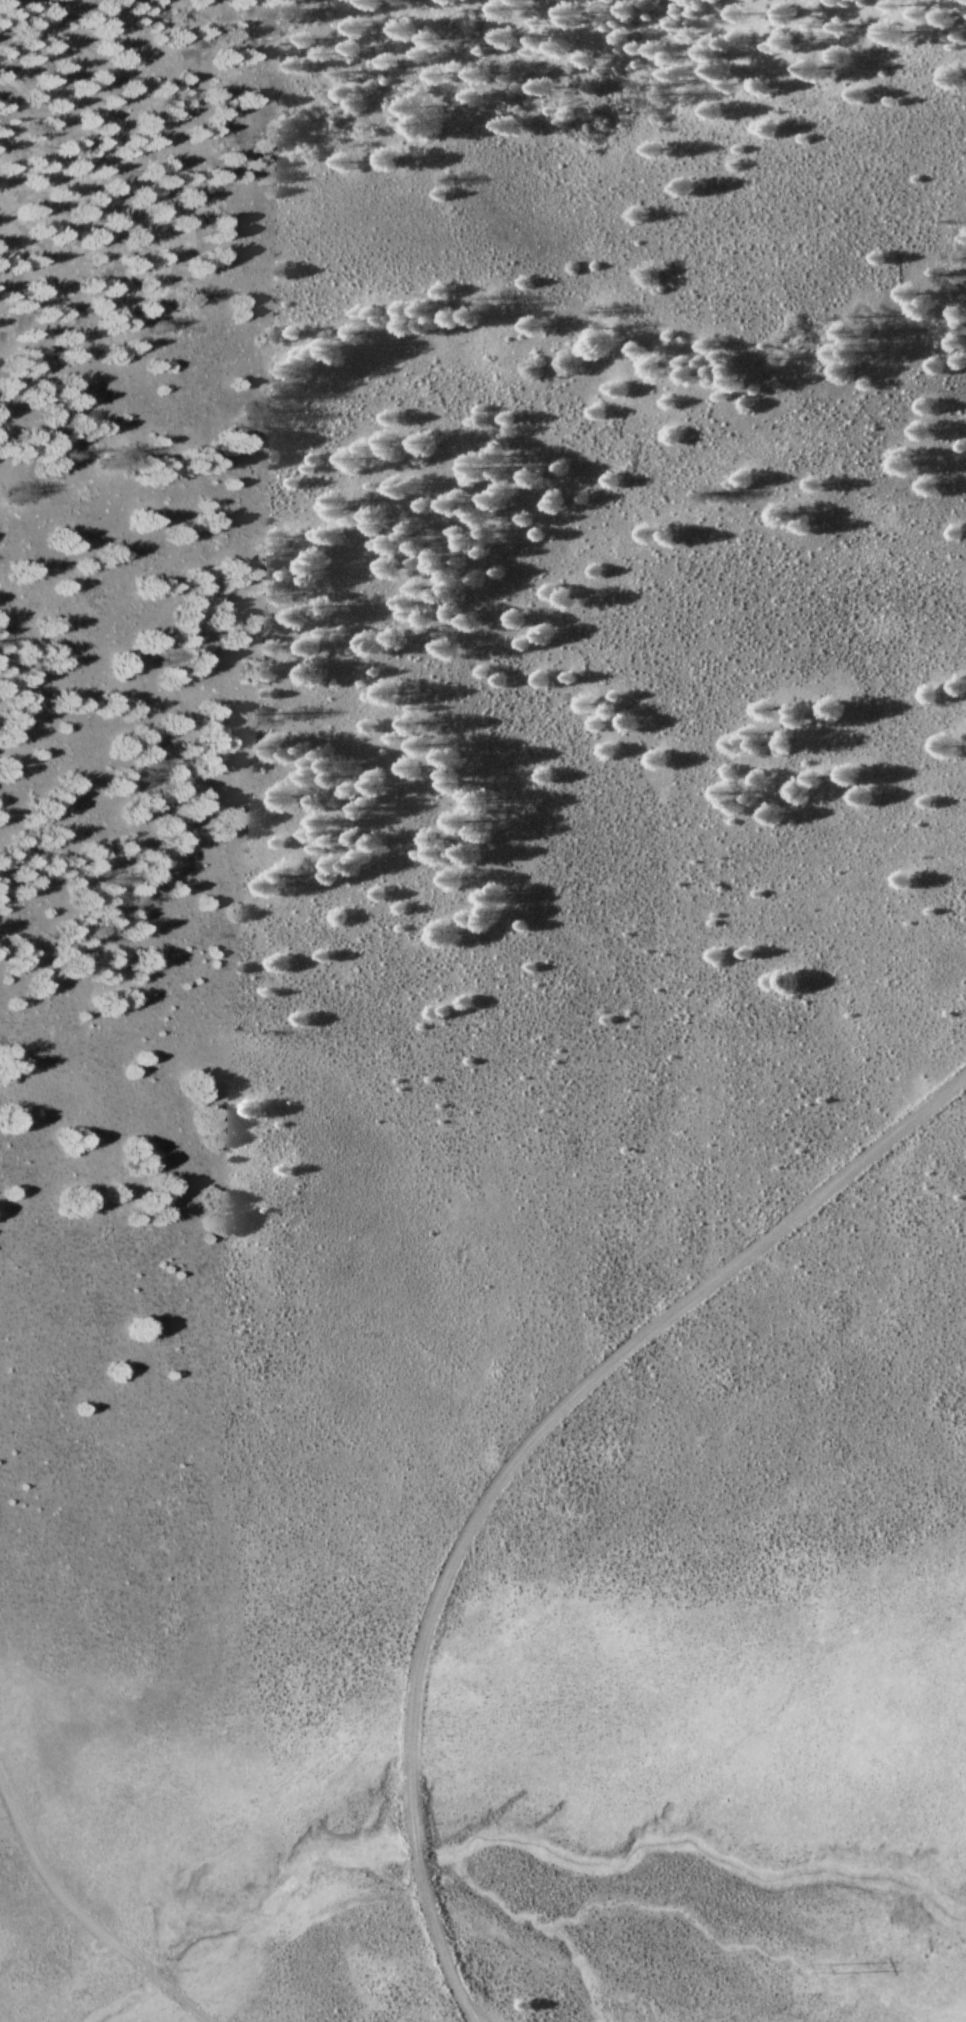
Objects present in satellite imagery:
road: (548, 1477)
road: (101, 1933)
power tower: (826, 1969)

